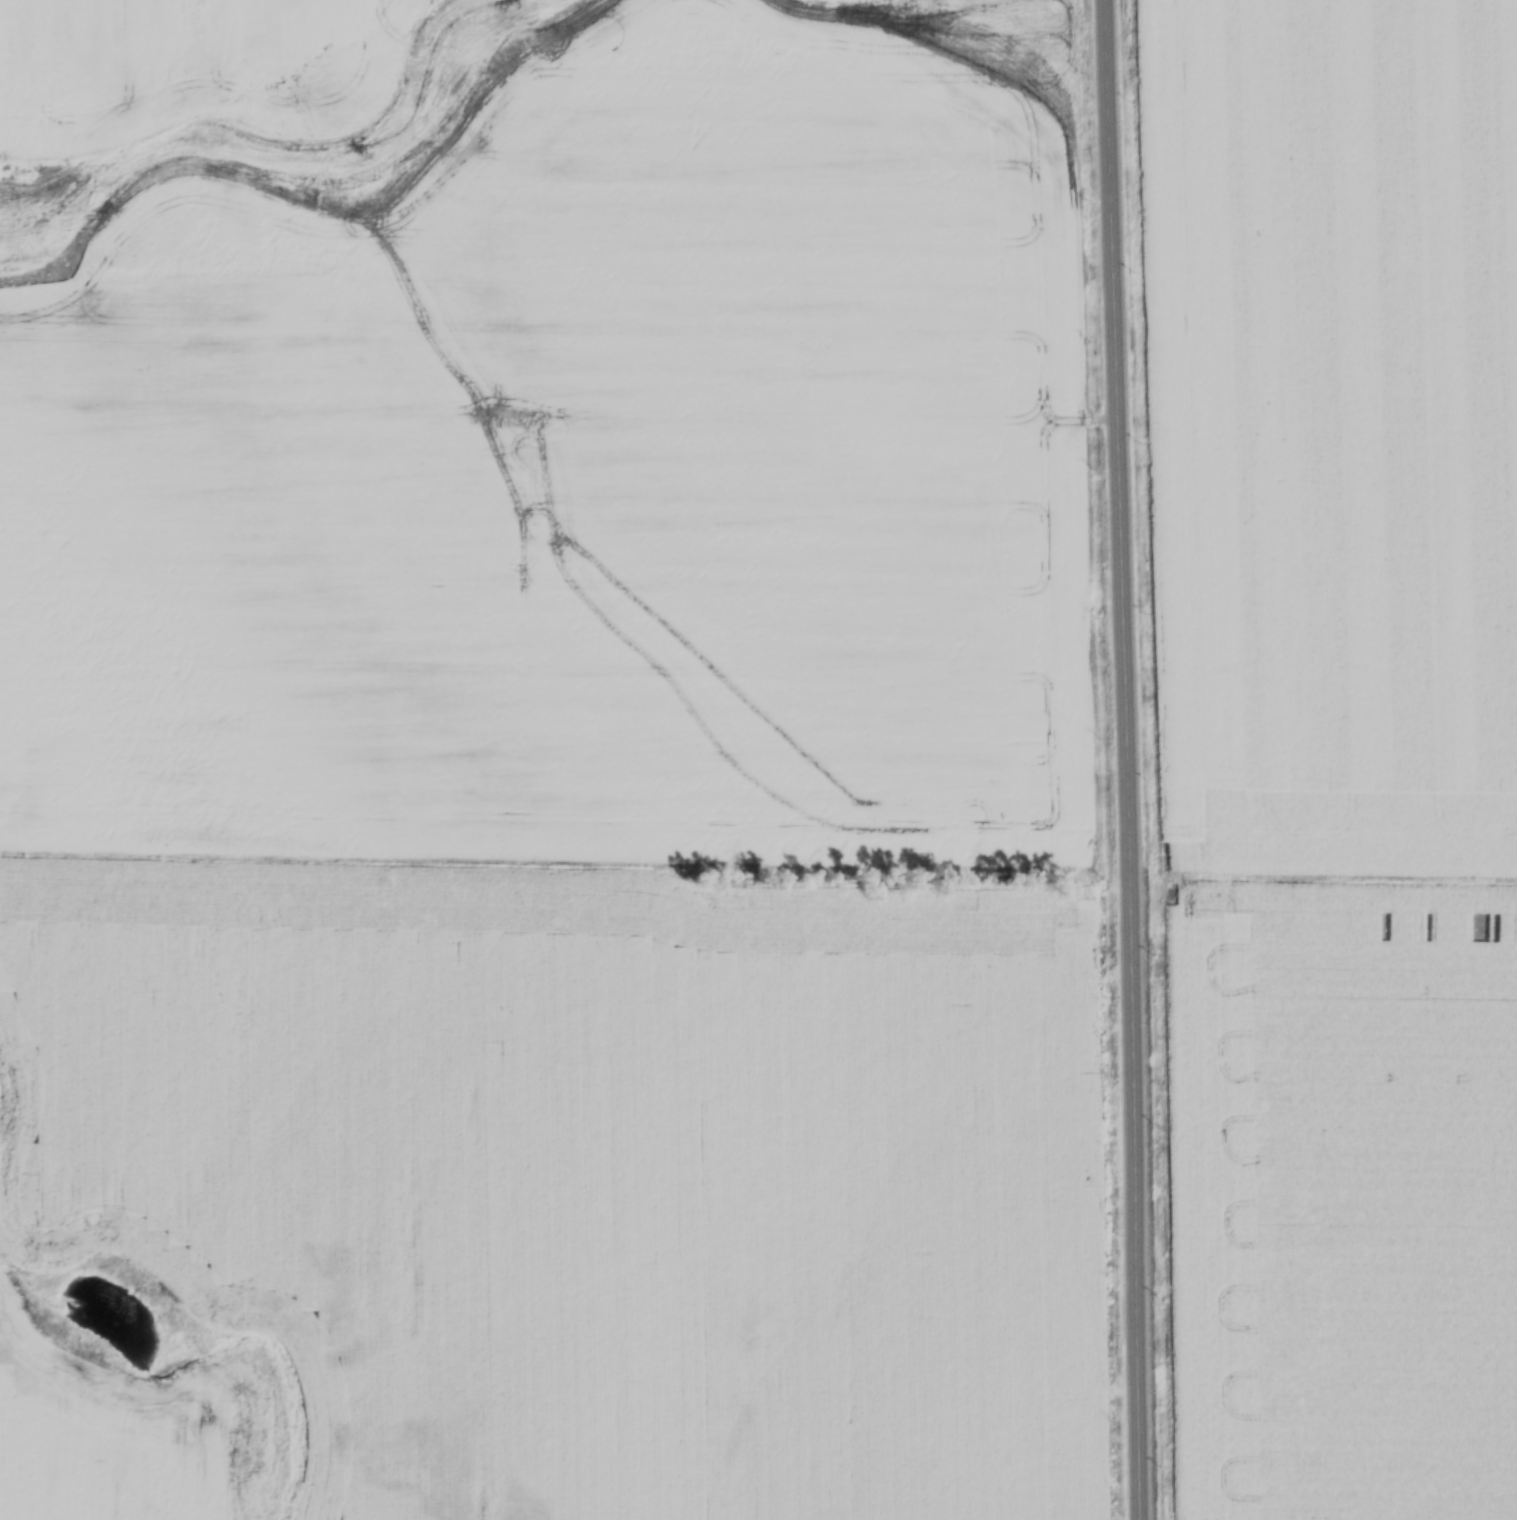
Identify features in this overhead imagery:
road: (1132, 759)

